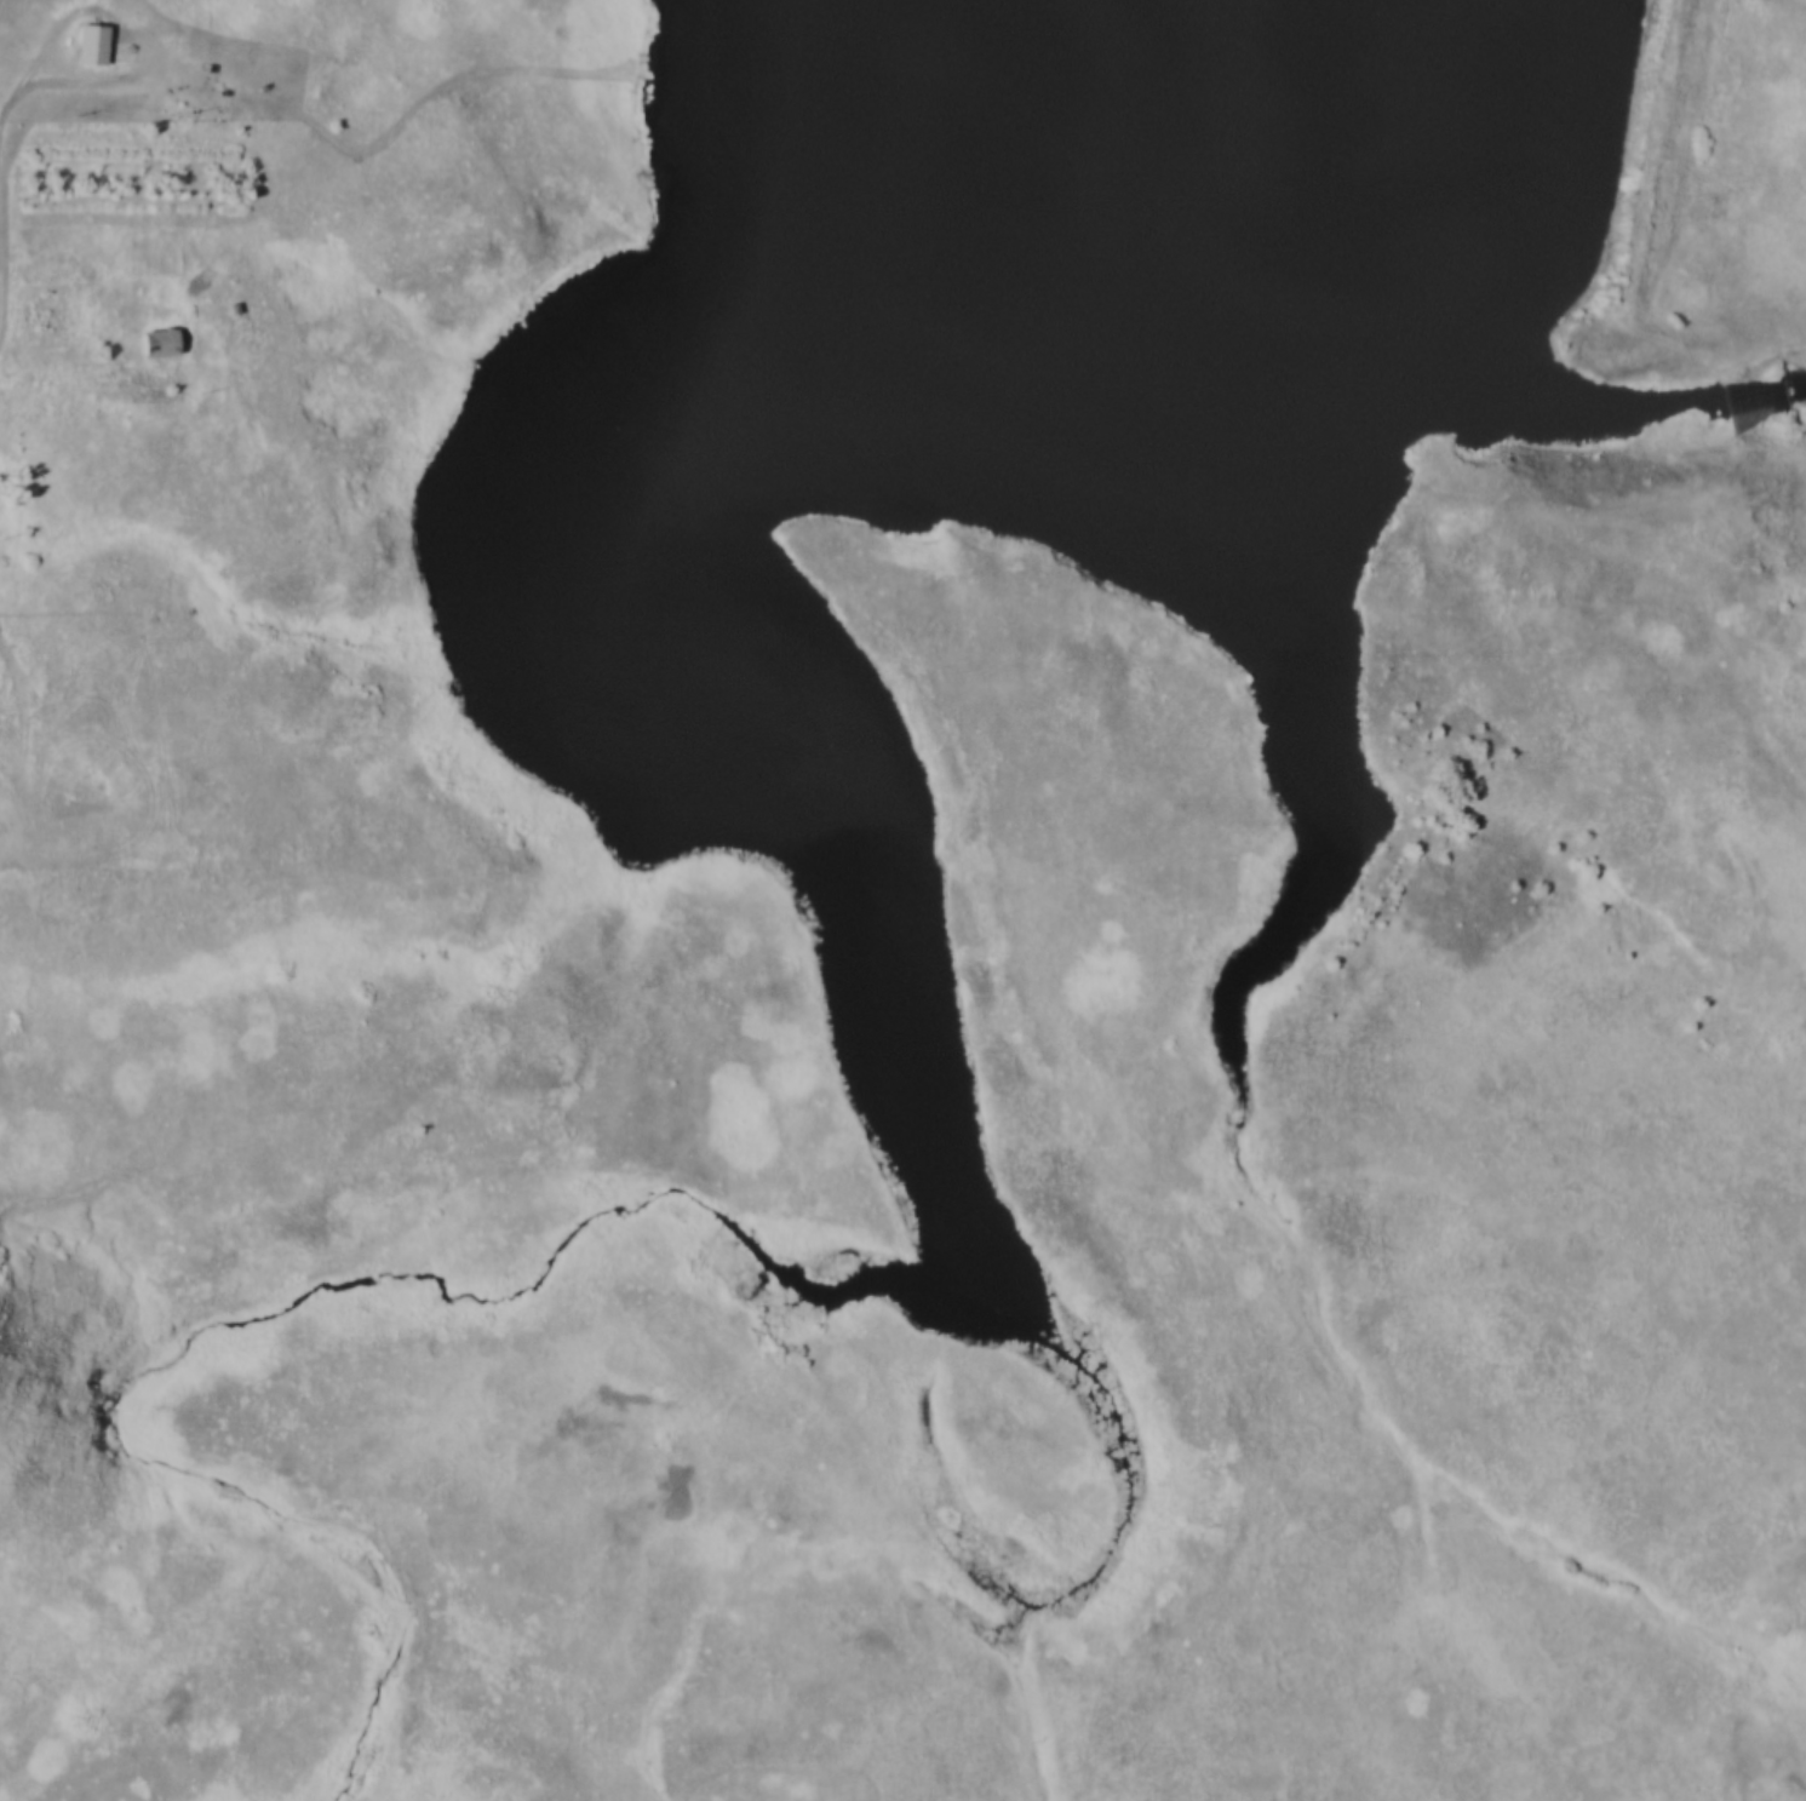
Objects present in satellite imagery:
building: (82, 33)
road: (13, 75)
dam: (1642, 171)
building: (147, 334)
building: (161, 344)

